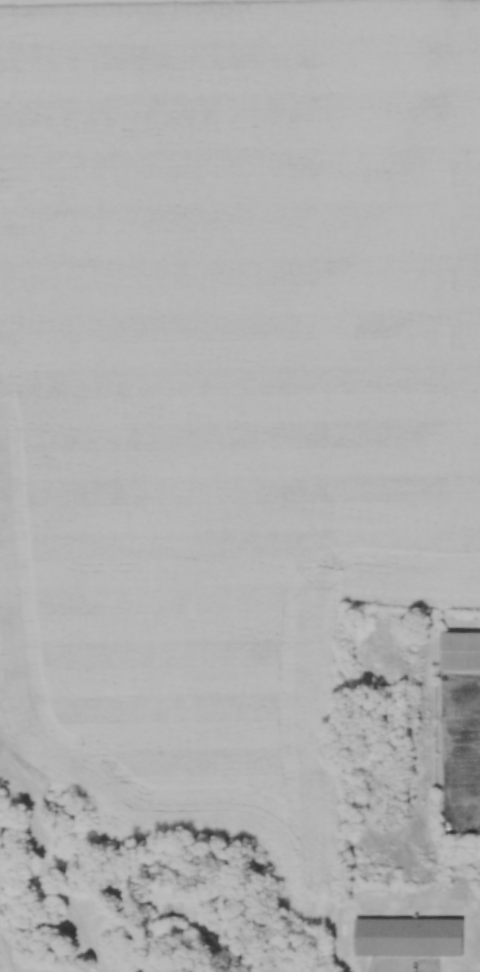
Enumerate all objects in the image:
road: (447, 756)
road: (89, 939)

